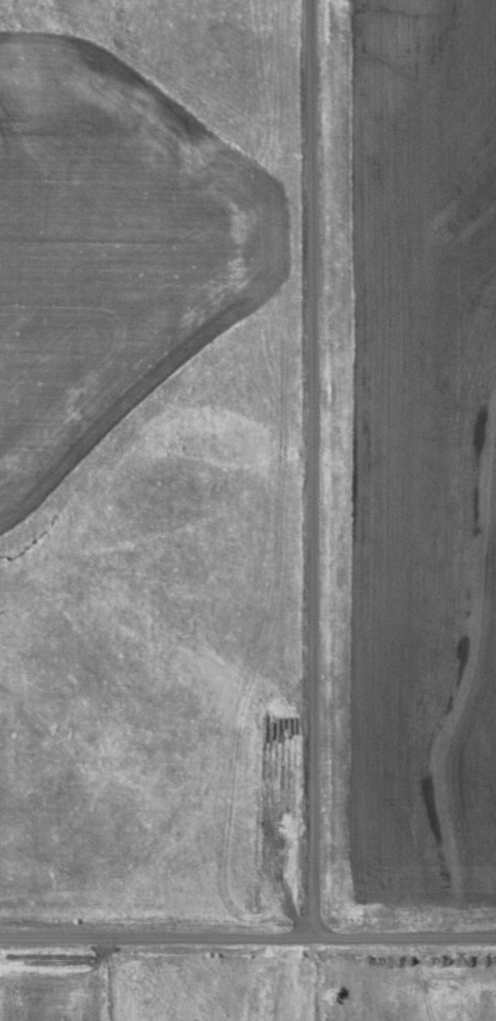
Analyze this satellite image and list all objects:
road: (316, 469)
road: (248, 938)

